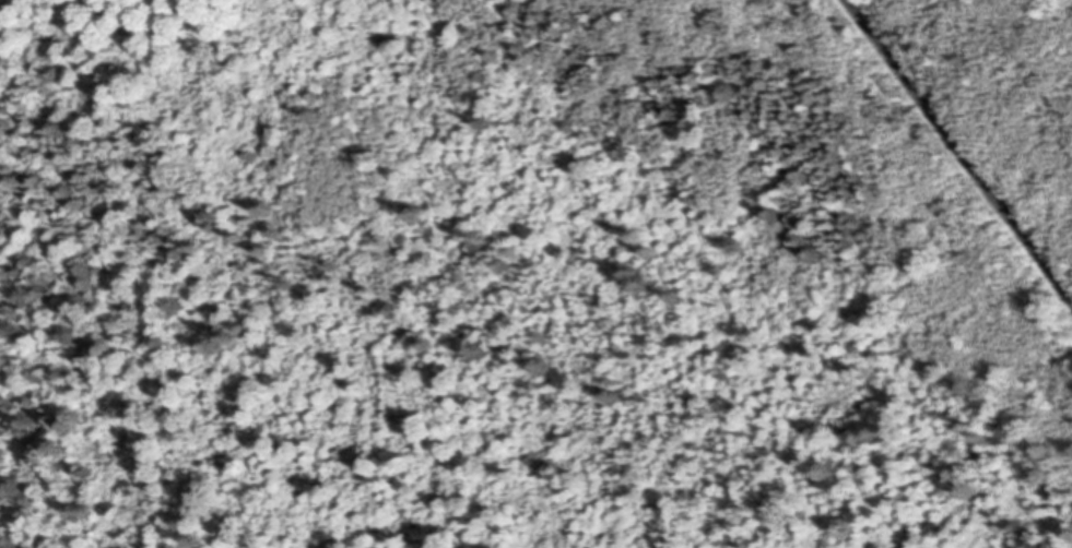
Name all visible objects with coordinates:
road: (958, 151)

